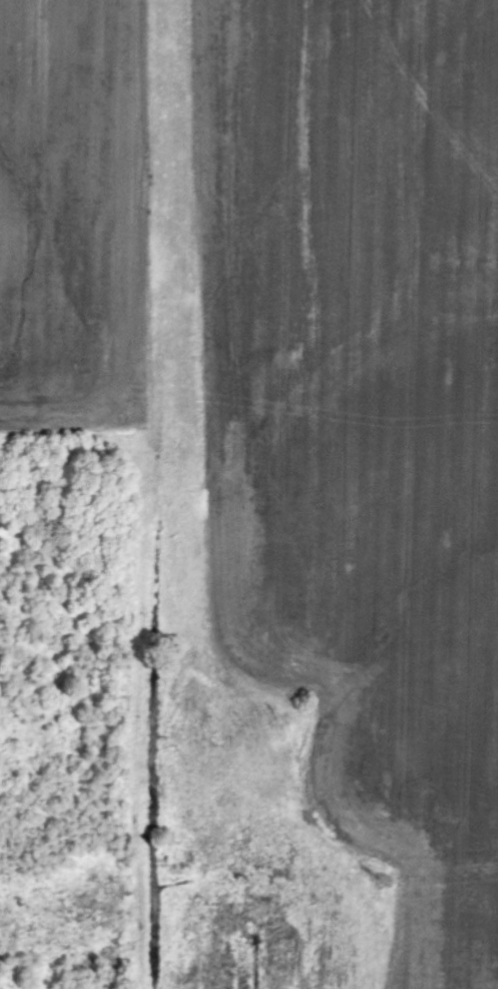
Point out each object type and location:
power tower: (383, 884)

